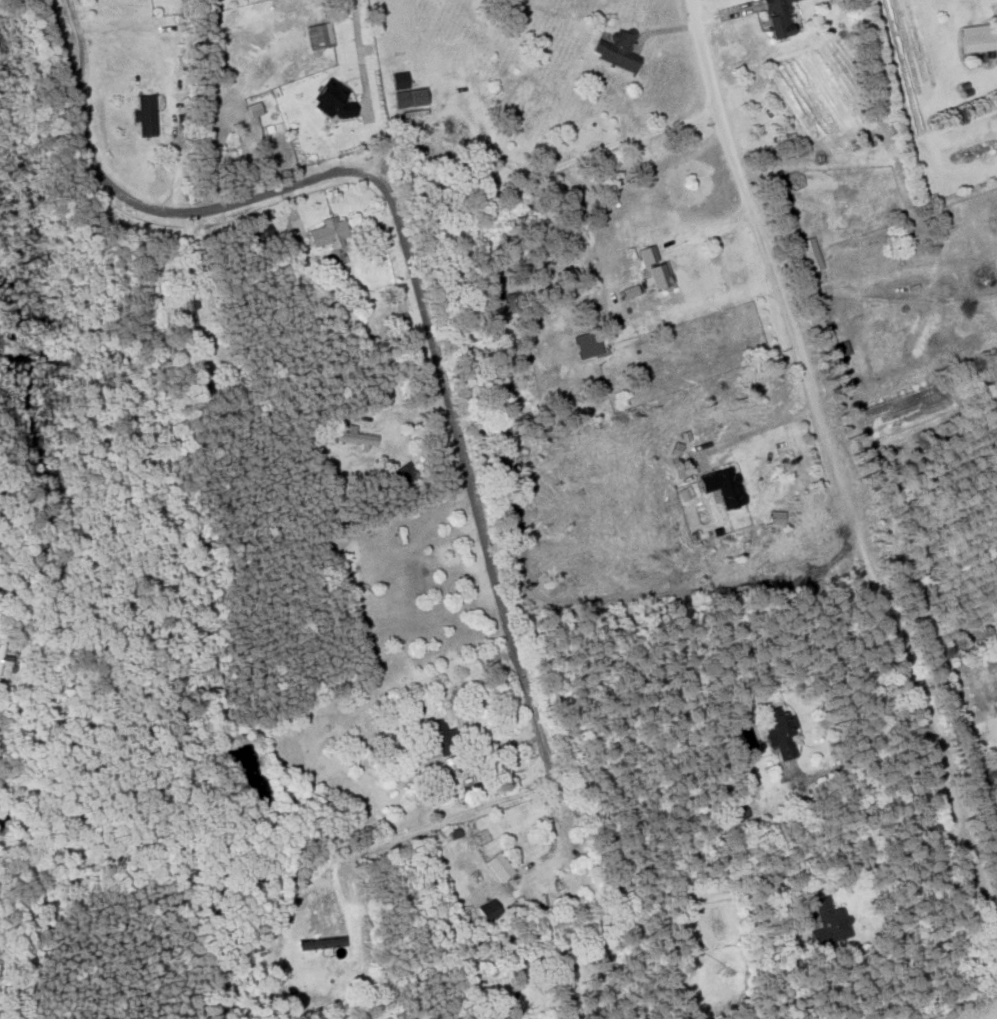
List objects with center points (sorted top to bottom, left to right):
building: (778, 17)
building: (319, 35)
building: (978, 37)
building: (617, 49)
road: (359, 58)
building: (399, 80)
building: (410, 97)
building: (332, 99)
building: (254, 108)
building: (144, 114)
road: (342, 171)
building: (328, 232)
building: (260, 233)
building: (810, 253)
building: (652, 267)
building: (631, 290)
building: (512, 302)
building: (190, 316)
building: (399, 321)
building: (587, 344)
building: (841, 348)
building: (355, 437)
road: (839, 461)
building: (723, 485)
building: (4, 656)
road: (520, 660)
building: (779, 730)
building: (440, 736)
building: (737, 813)
building: (499, 866)
building: (487, 910)
building: (828, 922)
building: (320, 942)
road: (944, 998)

